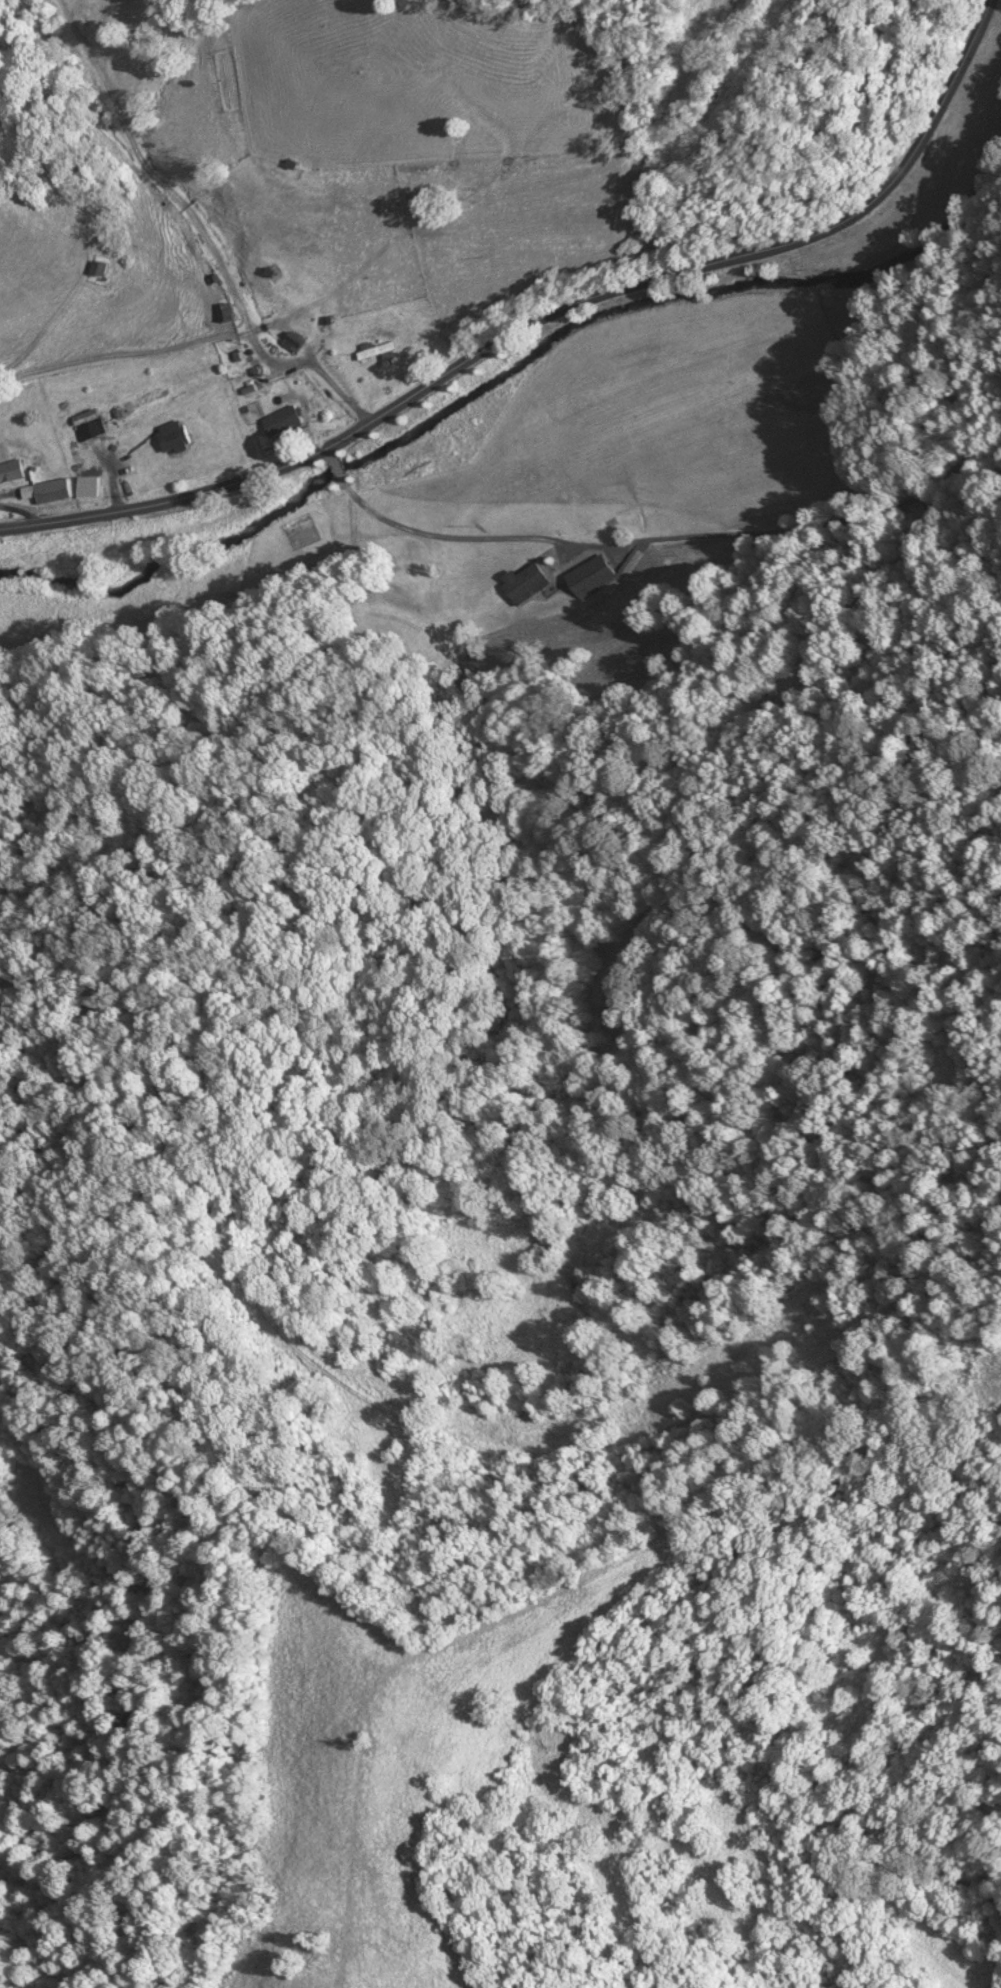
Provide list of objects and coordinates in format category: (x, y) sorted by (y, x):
building: (105, 266)
road: (541, 322)
building: (294, 341)
building: (377, 348)
road: (315, 371)
building: (283, 419)
building: (91, 423)
building: (177, 435)
building: (12, 469)
building: (49, 489)
road: (593, 551)
building: (560, 565)
building: (526, 580)

